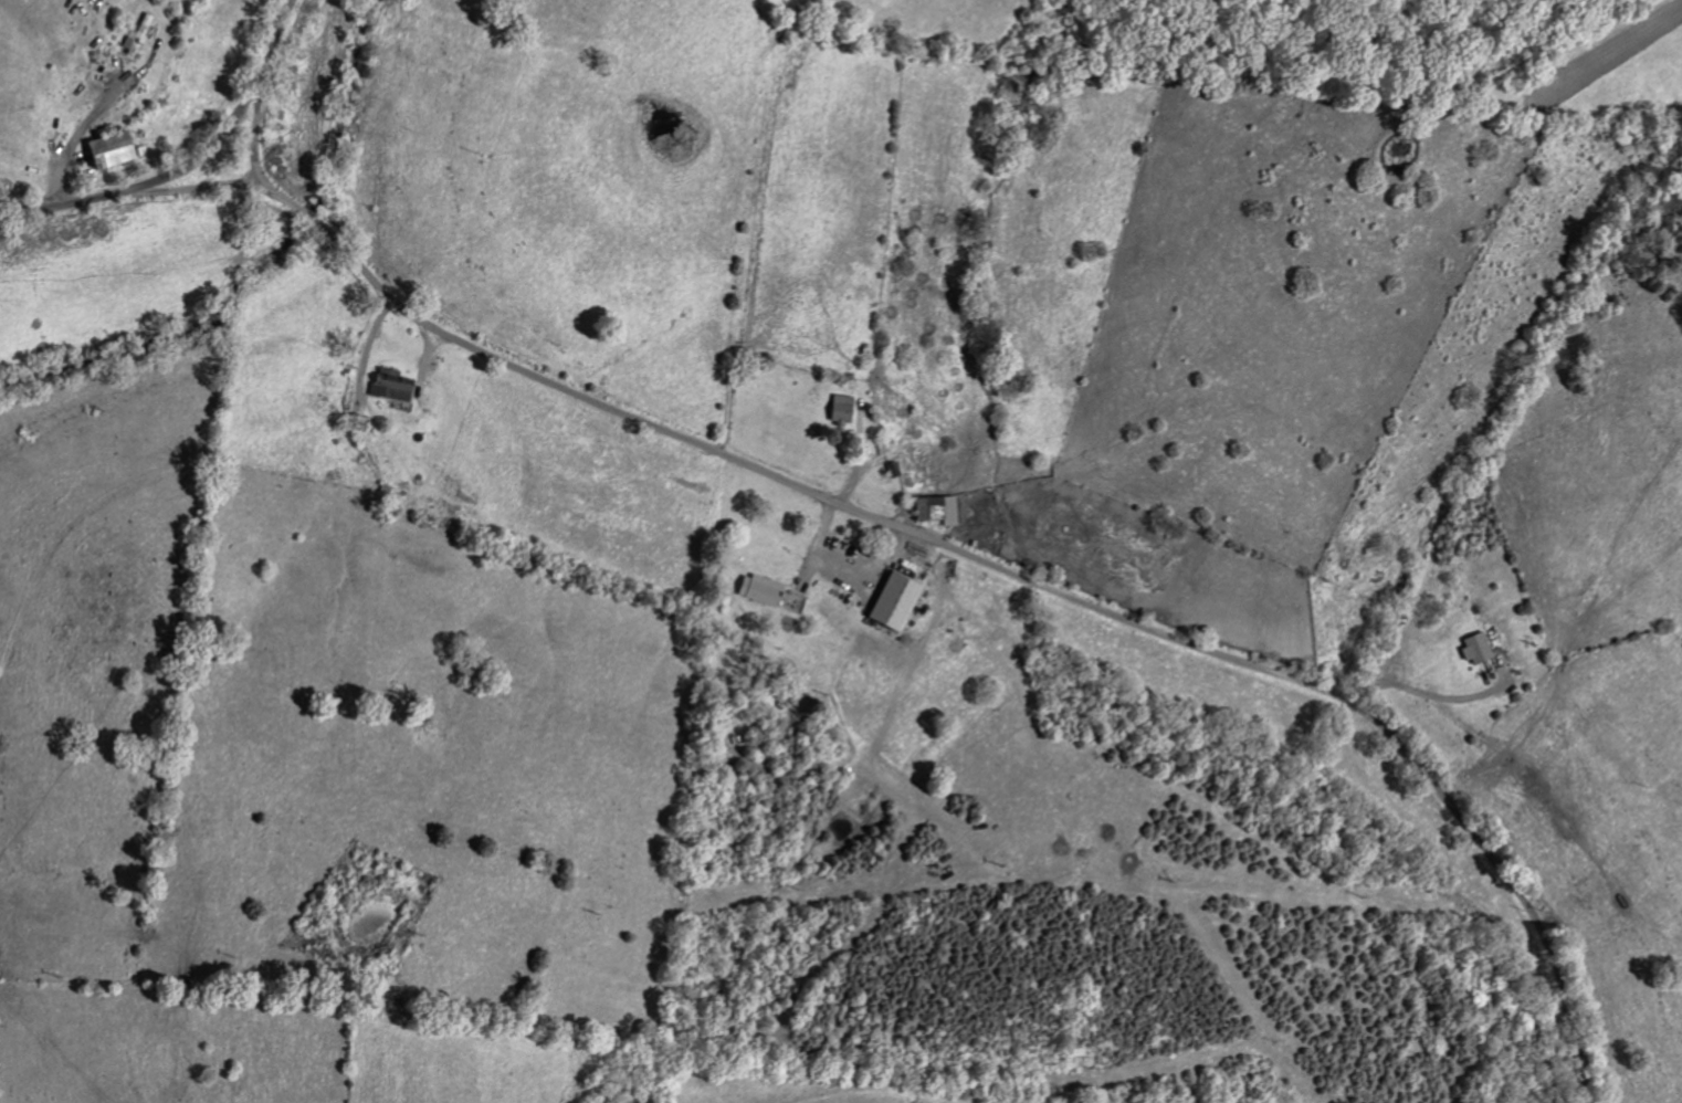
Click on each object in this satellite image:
building: (136, 35)
road: (255, 141)
road: (70, 143)
building: (104, 150)
road: (189, 165)
building: (388, 385)
building: (837, 409)
building: (933, 510)
road: (946, 543)
building: (756, 589)
building: (890, 602)
building: (1473, 649)
road: (1426, 698)

